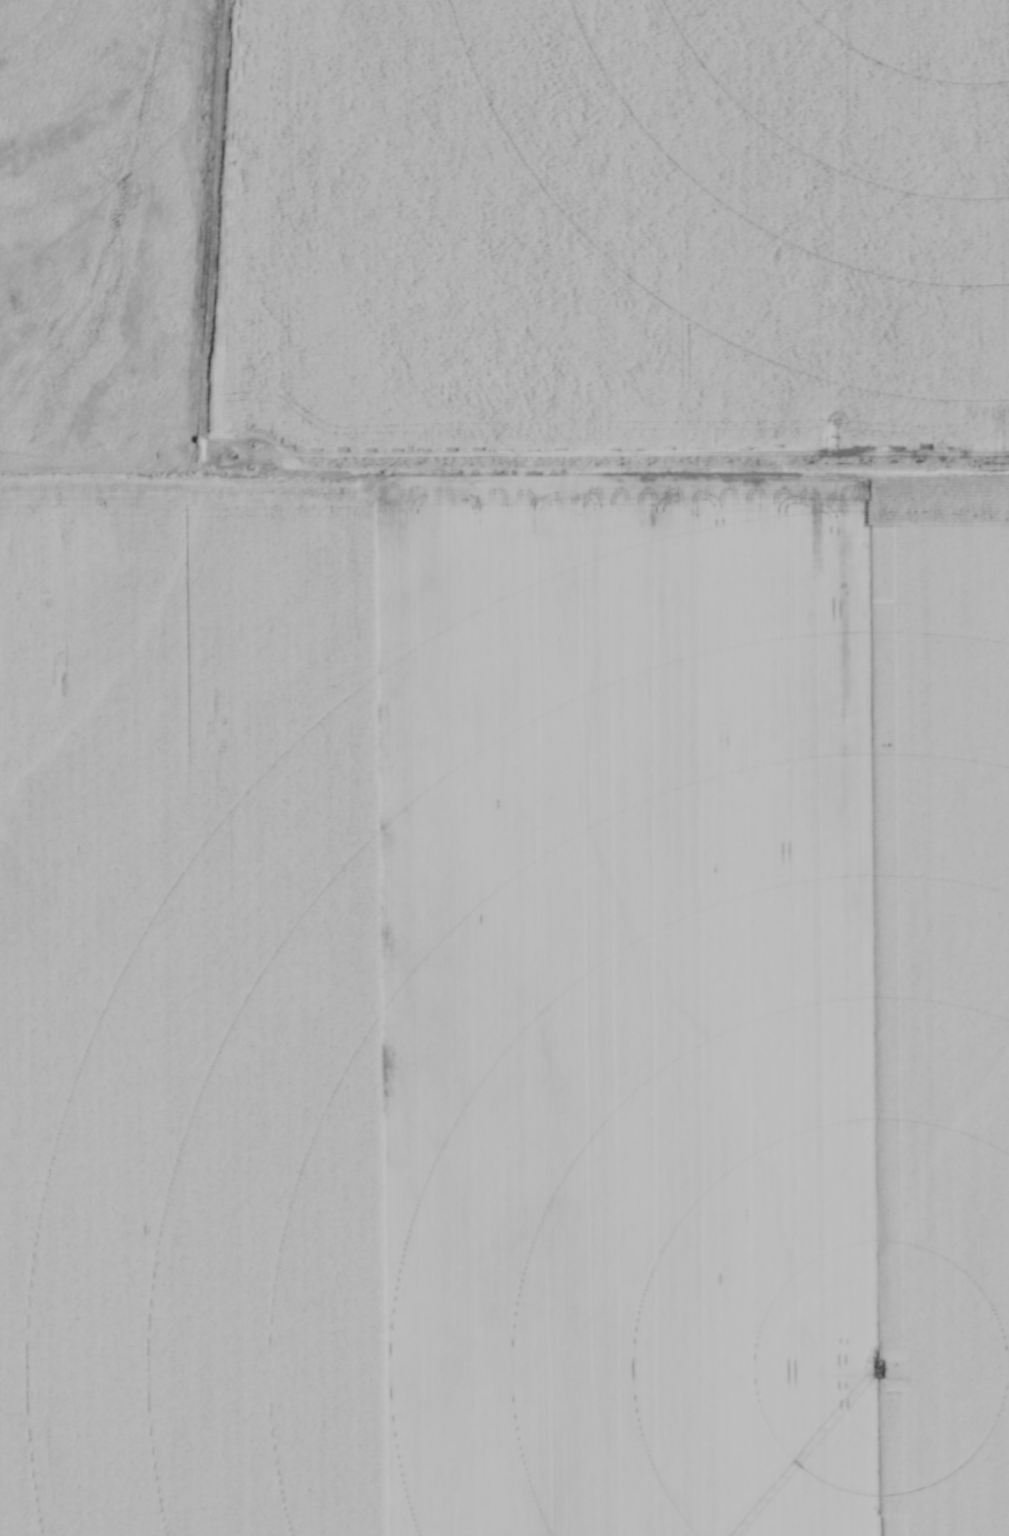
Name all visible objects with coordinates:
building: (200, 449)

